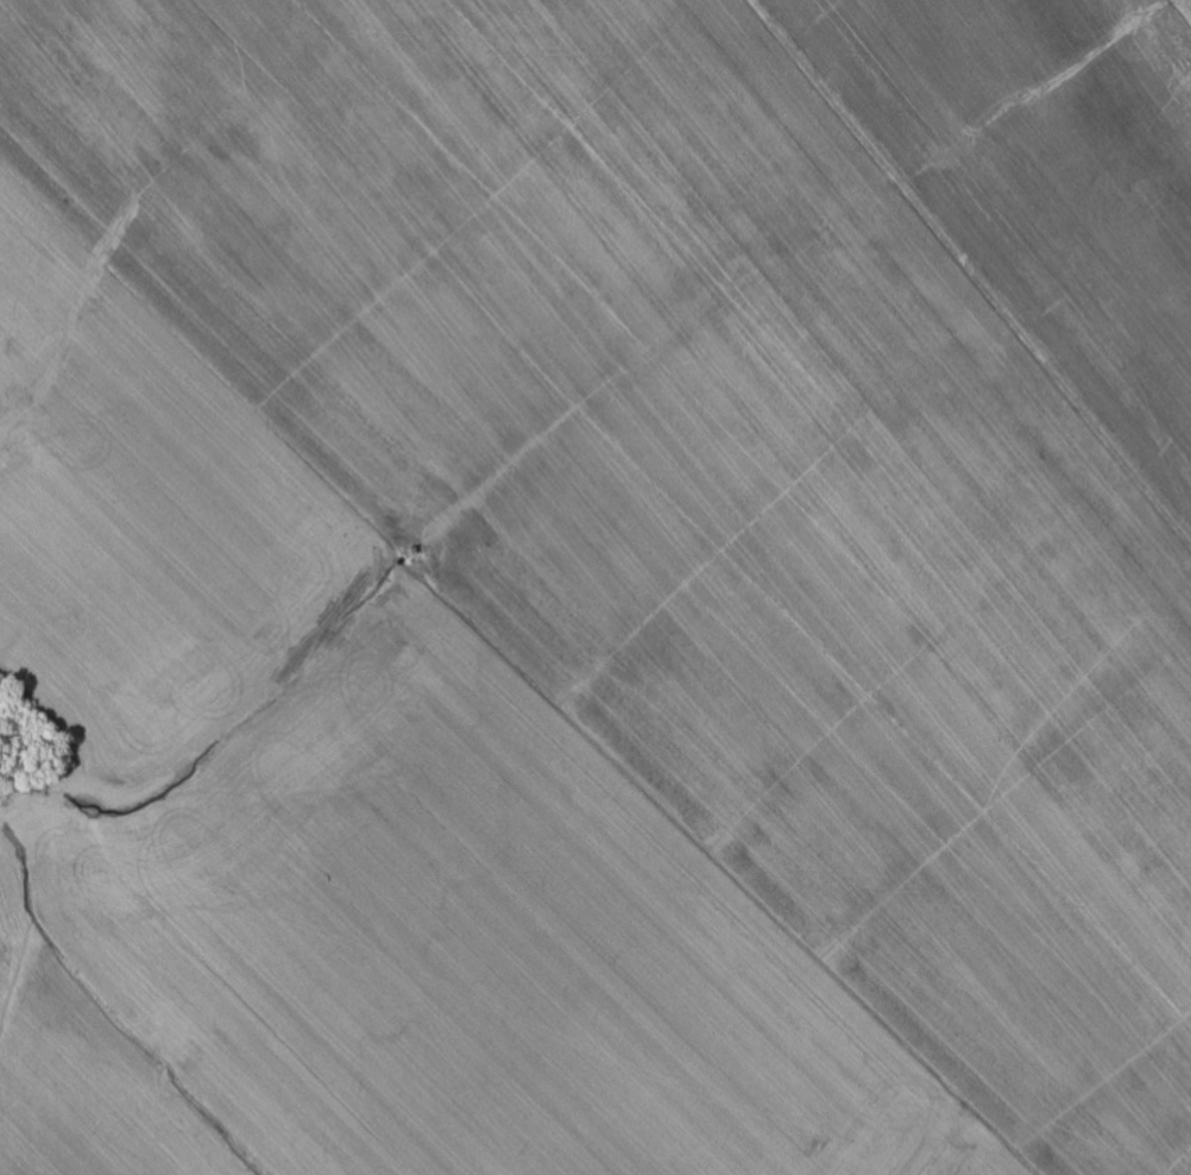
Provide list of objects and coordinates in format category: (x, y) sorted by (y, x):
road: (940, 409)

